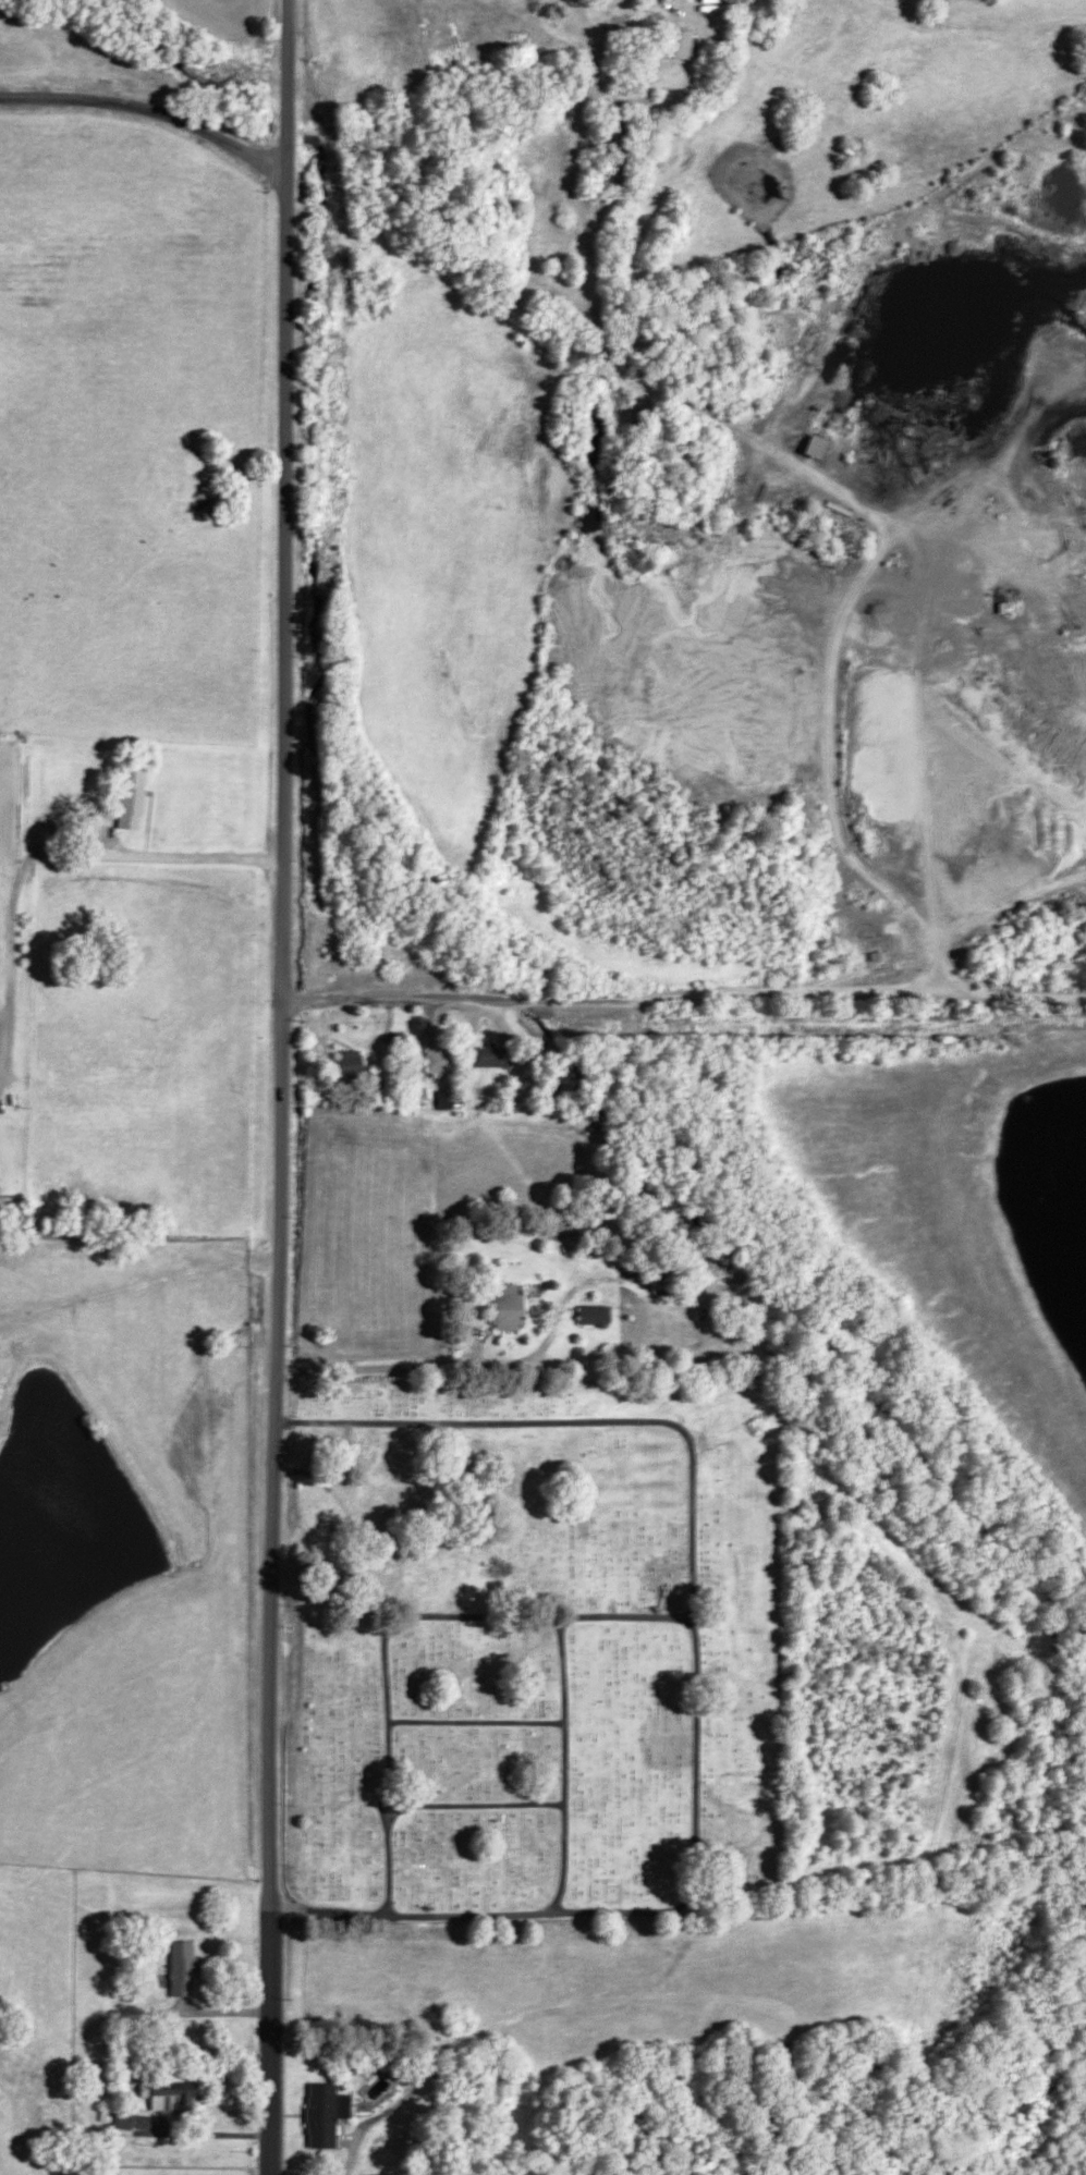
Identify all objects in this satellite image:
building: (682, 45)
road: (283, 87)
road: (145, 118)
building: (614, 146)
building: (817, 445)
building: (132, 797)
building: (879, 956)
road: (676, 998)
road: (268, 1040)
building: (489, 1056)
building: (438, 1059)
building: (352, 1066)
building: (387, 1074)
building: (508, 1309)
building: (595, 1315)
road: (456, 1364)
building: (183, 1969)
road: (267, 2041)
building: (62, 2089)
building: (169, 2094)
building: (325, 2113)
building: (118, 2117)
road: (355, 2133)

